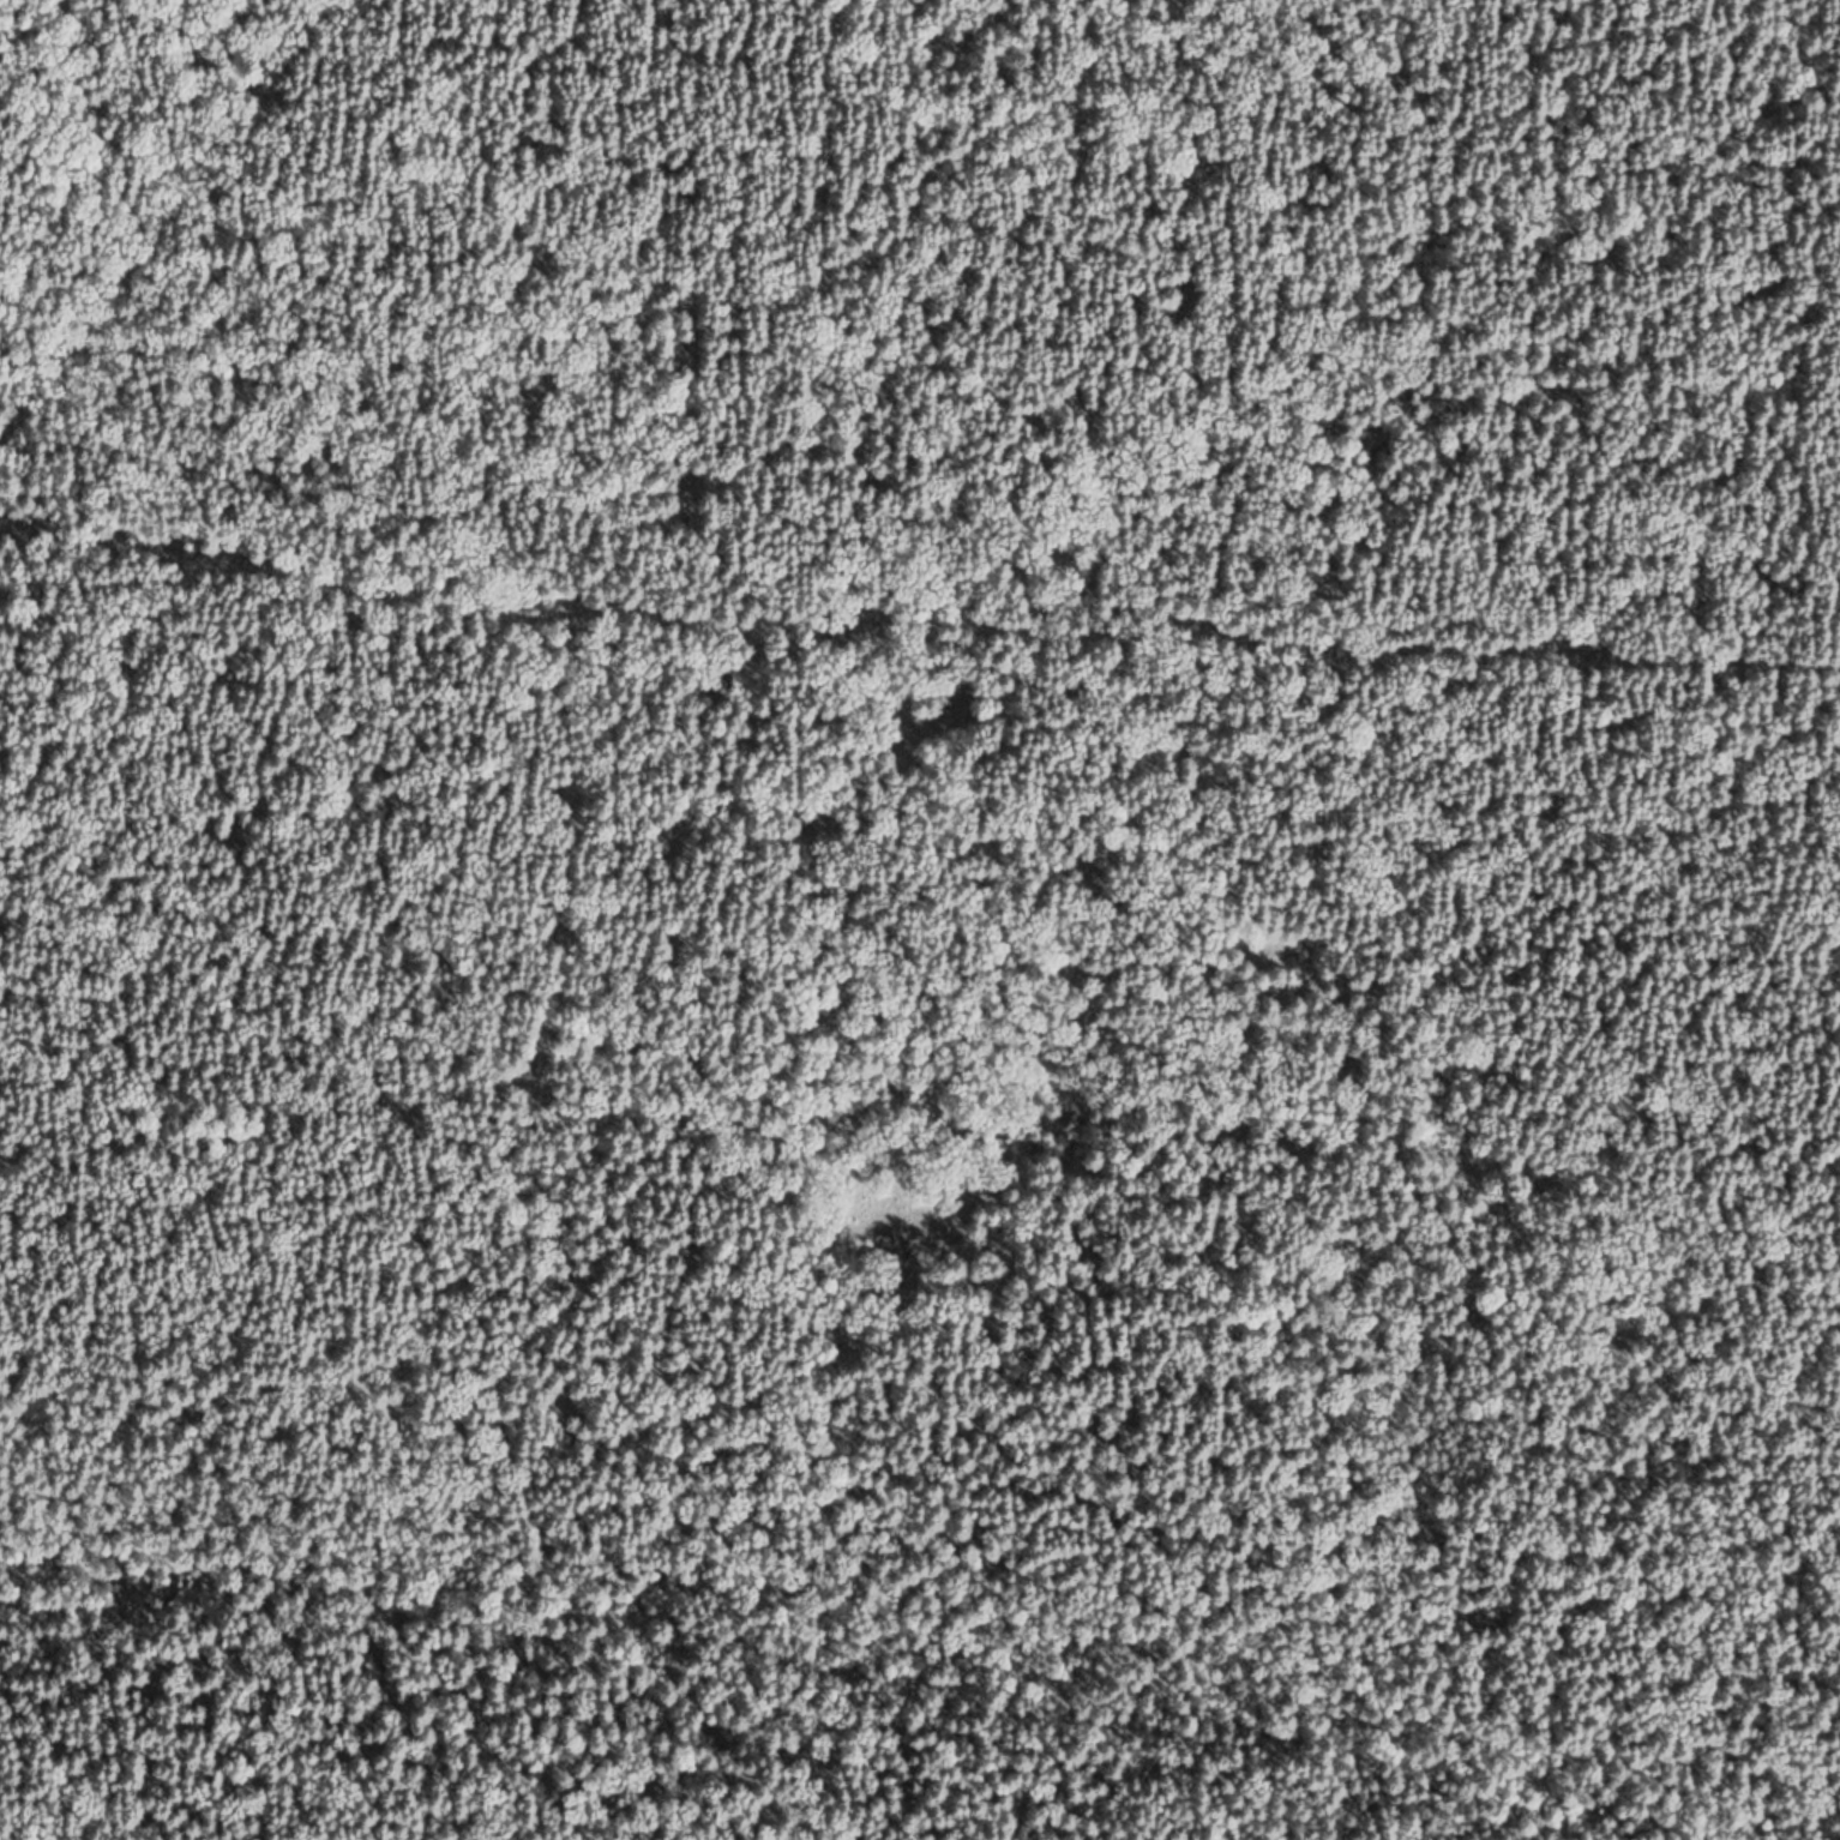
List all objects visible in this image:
road: (161, 210)

